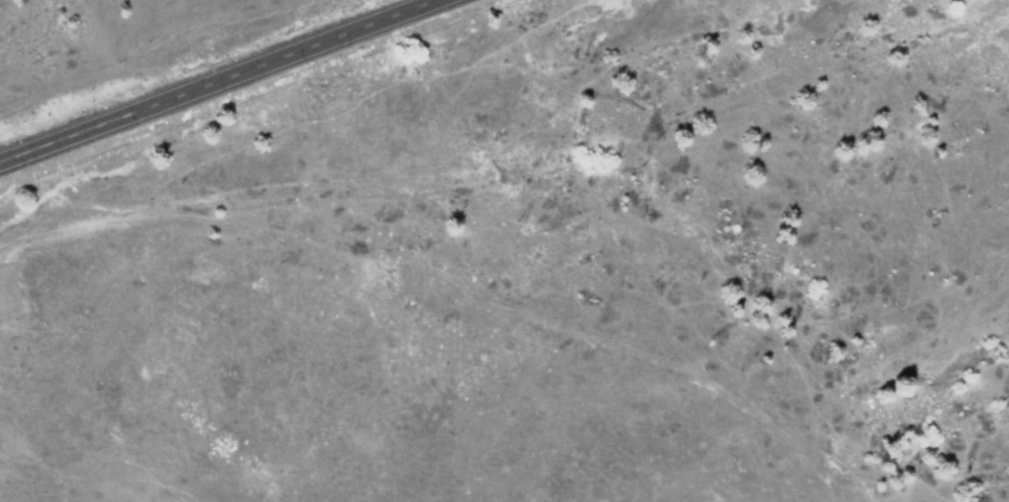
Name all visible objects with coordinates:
road: (214, 80)

